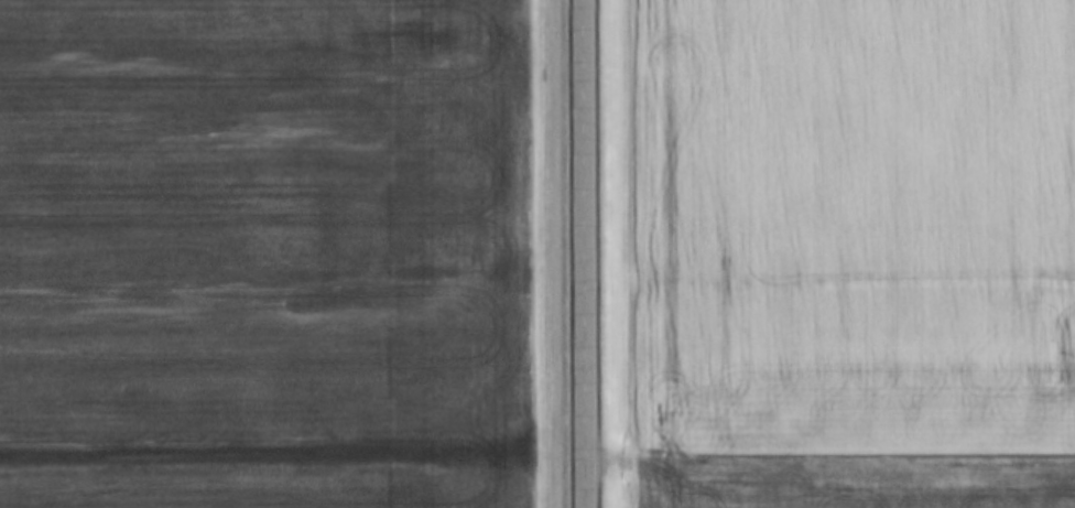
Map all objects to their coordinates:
road: (590, 253)

